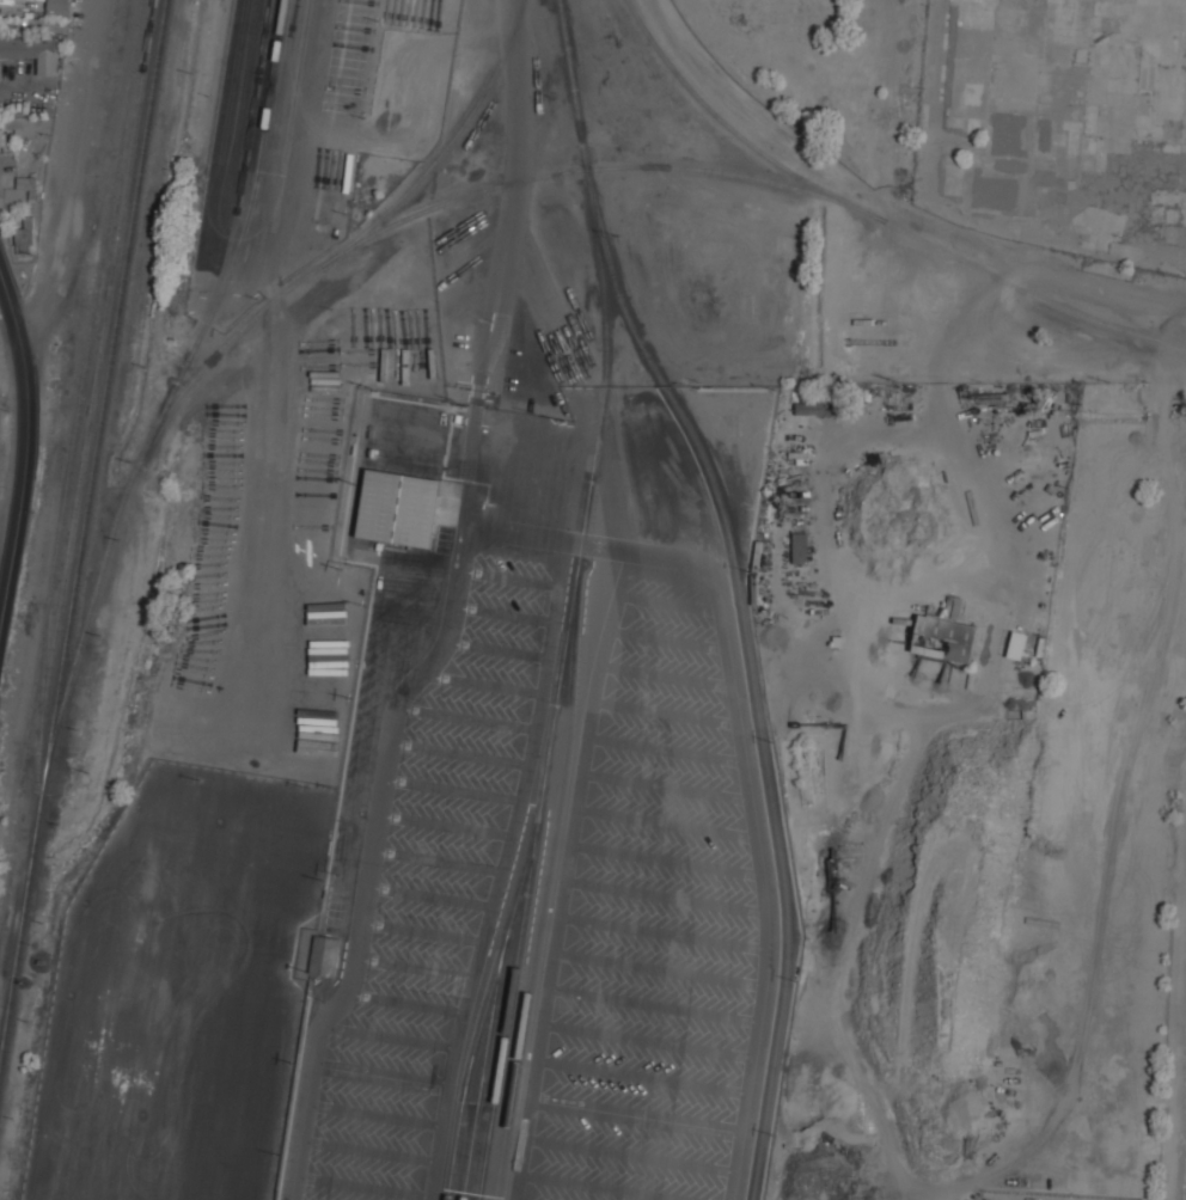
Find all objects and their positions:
building: (56, 7)
building: (32, 50)
building: (0, 134)
railway: (445, 148)
railway: (595, 167)
road: (66, 179)
road: (507, 215)
railway: (875, 216)
building: (24, 235)
railway: (240, 239)
railway: (92, 308)
road: (13, 316)
railway: (220, 353)
railway: (96, 371)
building: (818, 408)
road: (472, 478)
road: (20, 496)
building: (397, 507)
railway: (82, 533)
road: (534, 537)
building: (799, 547)
road: (511, 578)
railway: (573, 601)
road: (668, 602)
road: (505, 613)
railway: (86, 625)
building: (943, 638)
road: (666, 639)
building: (1015, 644)
road: (497, 649)
road: (664, 674)
railway: (43, 679)
road: (483, 685)
railway: (757, 696)
road: (664, 711)
road: (467, 720)
road: (665, 748)
road: (458, 754)
railway: (39, 761)
railway: (23, 766)
road: (665, 785)
road: (451, 789)
road: (665, 822)
road: (444, 826)
road: (751, 826)
road: (369, 858)
road: (664, 859)
road: (436, 862)
road: (502, 871)
road: (566, 873)
parking lot: (430, 889)
road: (664, 895)
road: (429, 896)
railway: (542, 899)
parking lot: (652, 925)
road: (421, 931)
road: (662, 932)
building: (323, 956)
road: (414, 968)
road: (658, 968)
road: (405, 1003)
road: (653, 1004)
railway: (509, 1009)
road: (389, 1037)
road: (648, 1040)
railway: (470, 1066)
road: (381, 1076)
road: (643, 1077)
road: (375, 1114)
road: (636, 1115)
road: (369, 1151)
road: (630, 1155)
road: (363, 1187)
road: (599, 1187)

